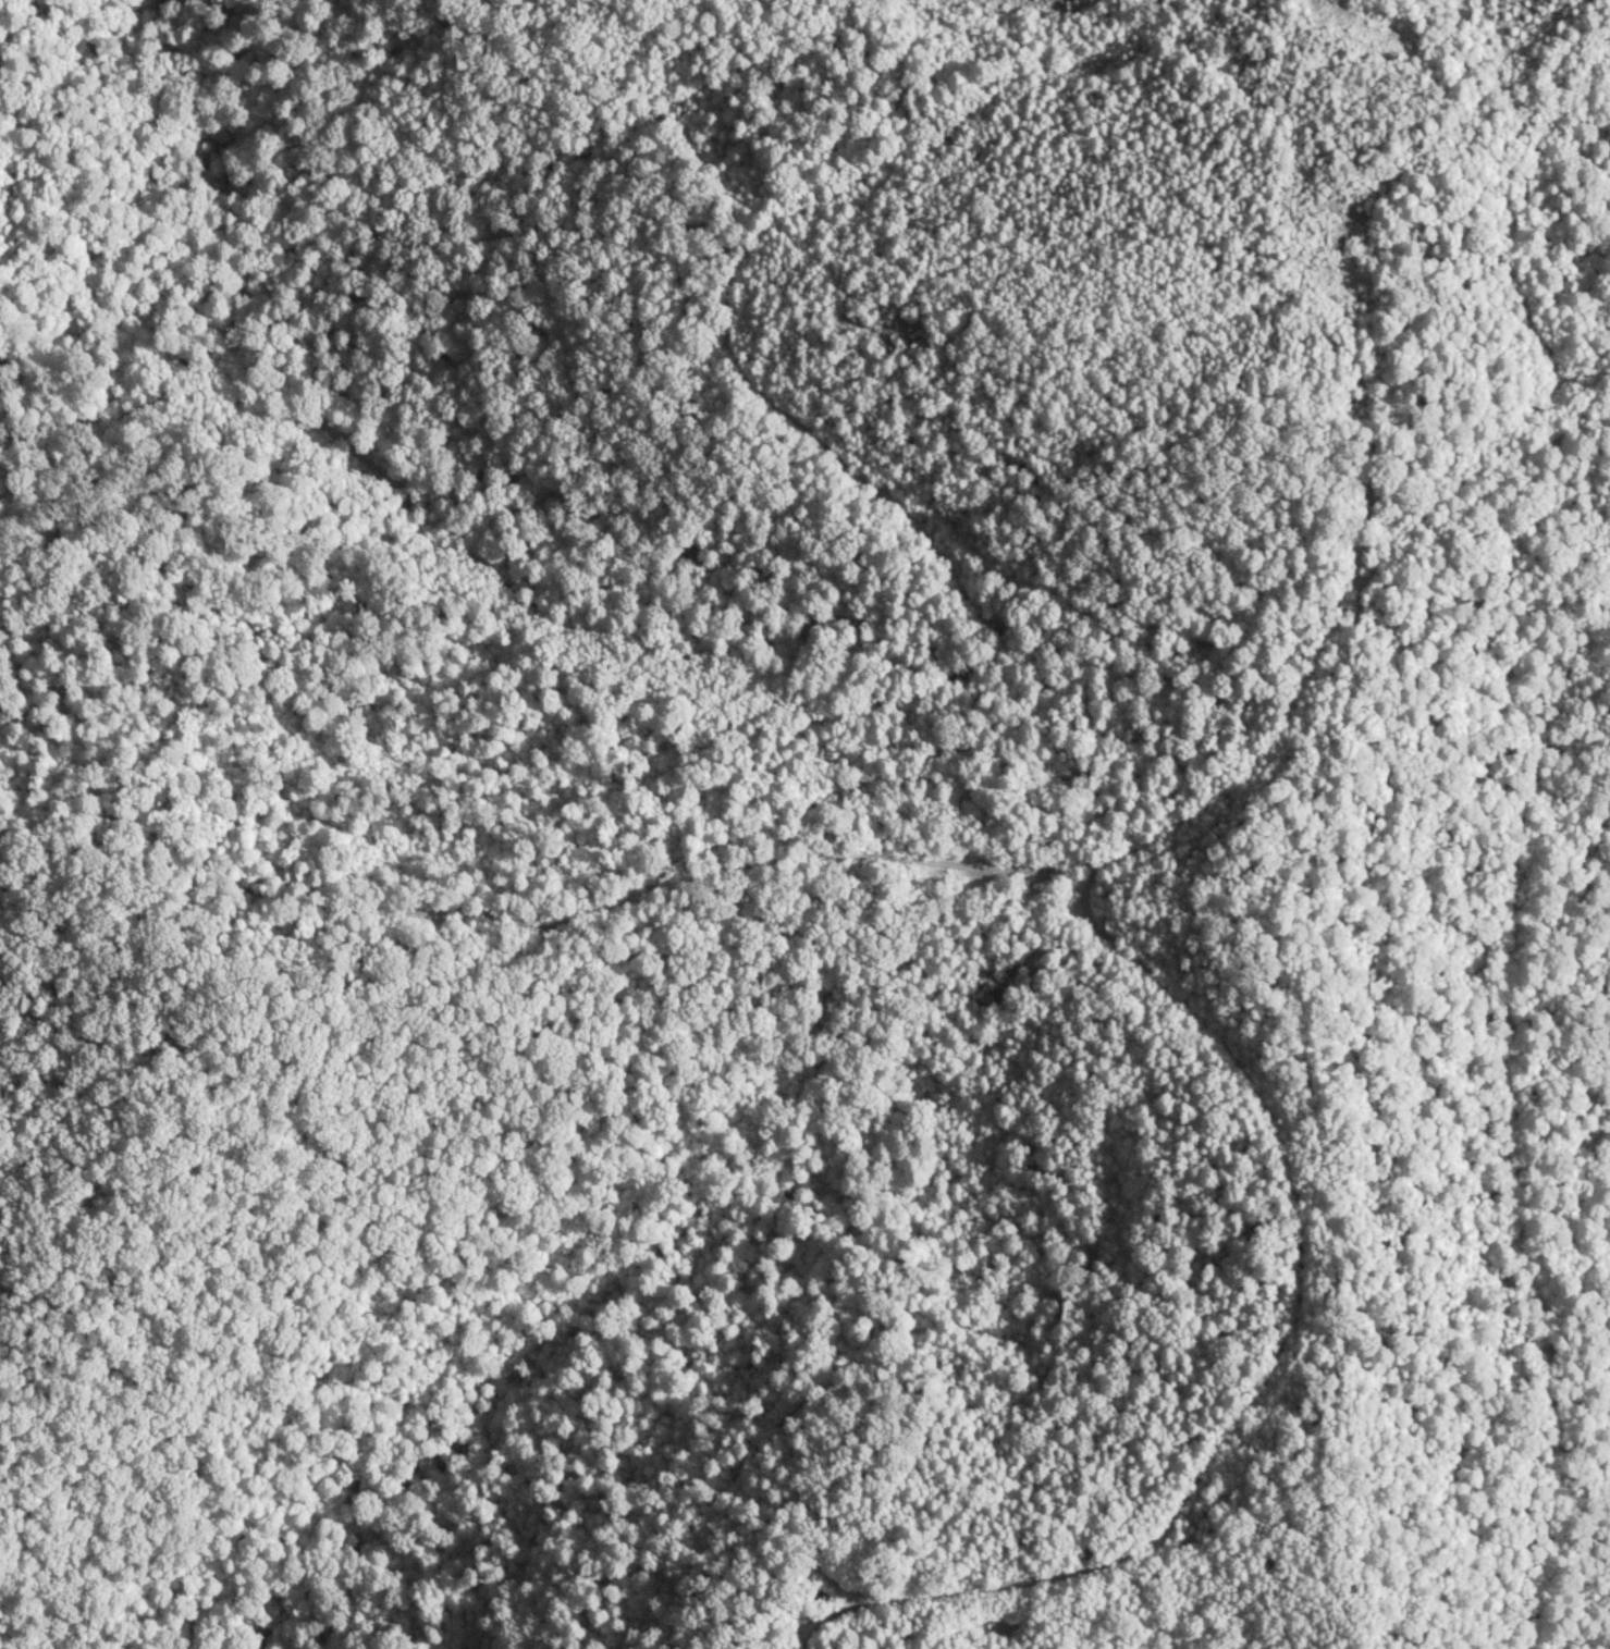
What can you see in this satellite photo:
quarry: (1519, 5)
road: (1052, 927)

